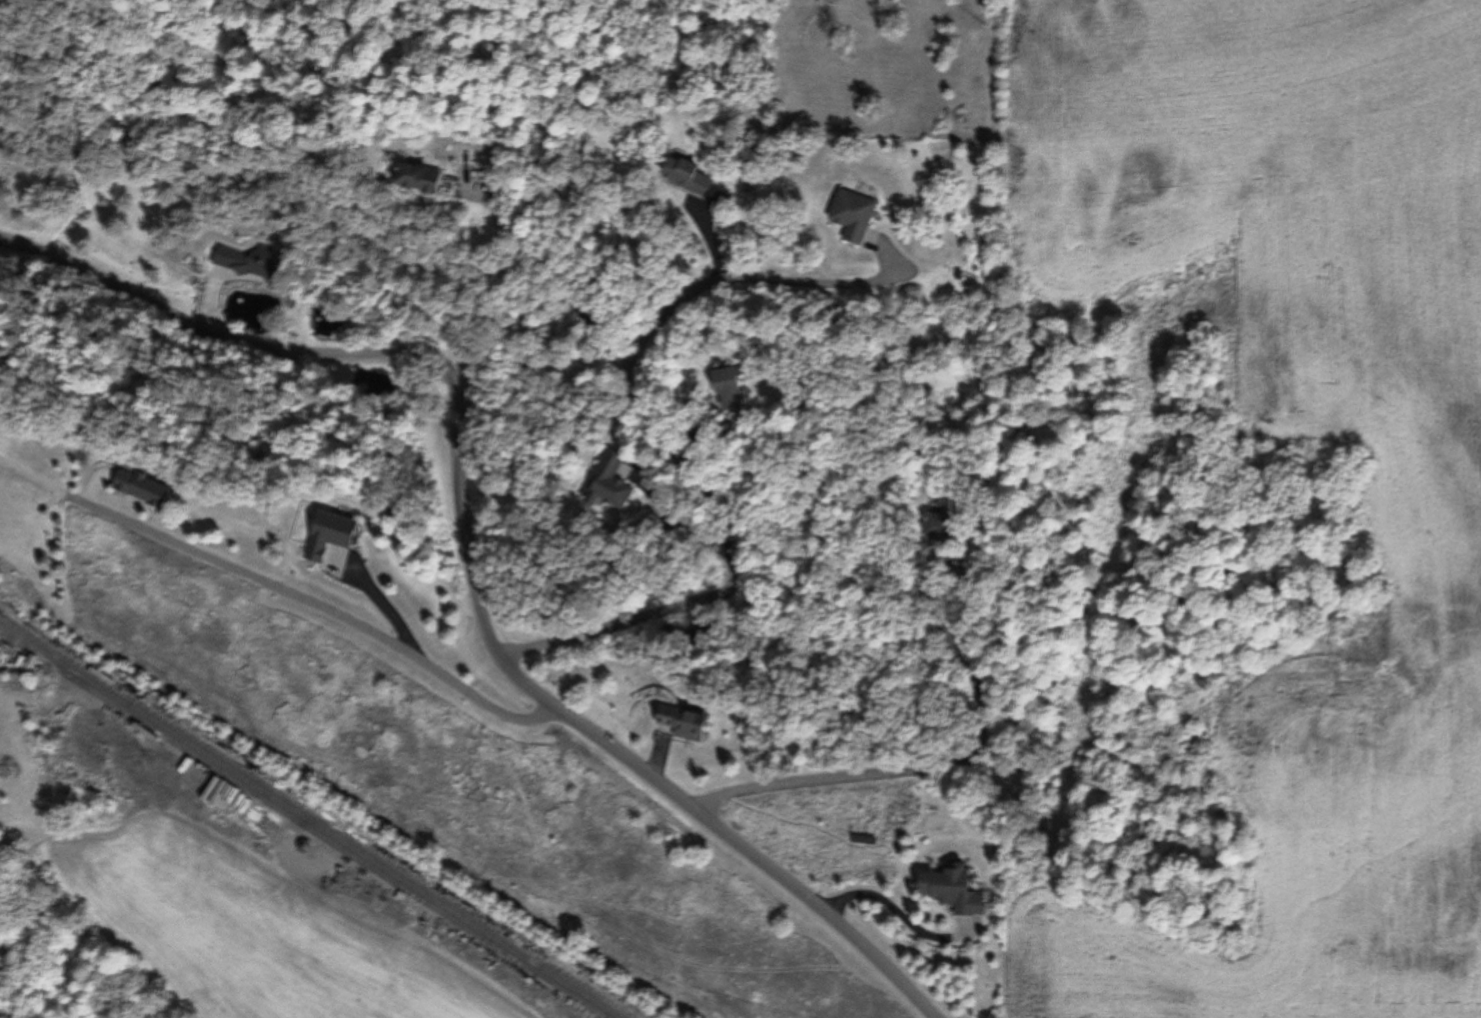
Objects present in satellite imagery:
building: (692, 175)
building: (428, 178)
building: (859, 217)
road: (710, 240)
building: (252, 263)
road: (555, 274)
road: (215, 305)
building: (734, 386)
road: (694, 427)
road: (663, 434)
road: (97, 484)
building: (613, 484)
building: (147, 490)
road: (675, 523)
building: (943, 531)
building: (334, 537)
road: (470, 561)
road: (284, 591)
road: (382, 606)
building: (688, 724)
road: (660, 754)
road: (944, 768)
road: (311, 820)
building: (956, 892)
road: (899, 915)

